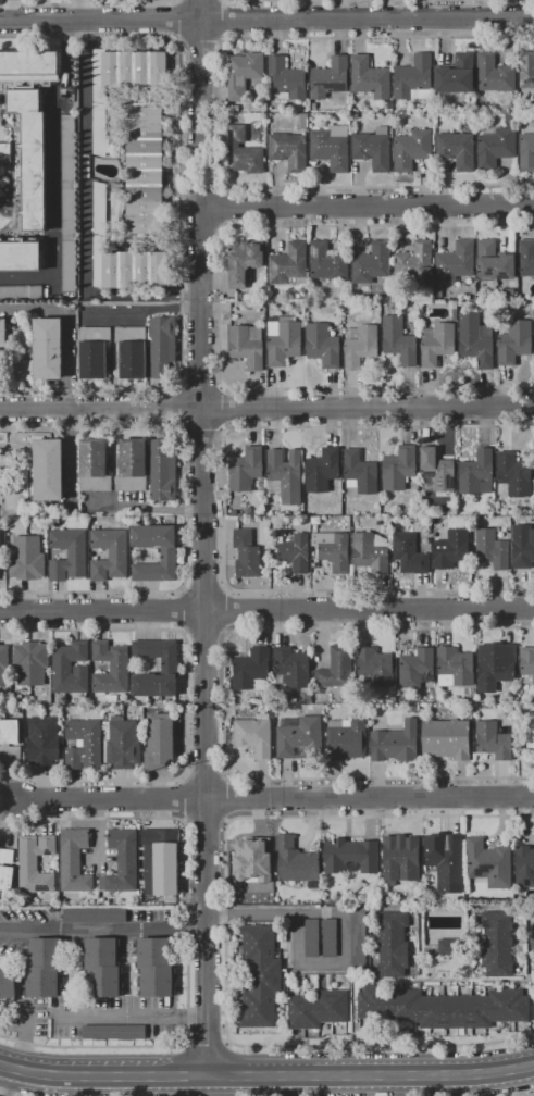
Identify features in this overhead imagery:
road: (290, 0)
road: (88, 5)
road: (12, 11)
road: (75, 11)
road: (222, 21)
road: (266, 21)
road: (177, 22)
road: (199, 43)
building: (29, 63)
building: (526, 70)
building: (244, 72)
building: (494, 74)
building: (456, 75)
building: (330, 78)
building: (414, 78)
building: (286, 79)
building: (370, 79)
building: (28, 80)
building: (122, 83)
road: (219, 113)
building: (510, 120)
building: (302, 122)
building: (332, 147)
building: (496, 148)
building: (374, 149)
building: (457, 149)
building: (289, 150)
building: (412, 150)
building: (5, 152)
building: (244, 152)
building: (526, 152)
building: (32, 155)
building: (145, 169)
road: (53, 175)
building: (69, 203)
road: (368, 207)
road: (224, 208)
road: (84, 213)
road: (181, 215)
building: (21, 256)
building: (123, 257)
building: (526, 258)
building: (244, 261)
building: (327, 262)
building: (456, 262)
building: (494, 262)
building: (372, 264)
building: (414, 264)
building: (289, 265)
building: (21, 292)
building: (439, 292)
building: (509, 292)
road: (215, 309)
building: (452, 309)
road: (70, 324)
building: (334, 331)
building: (3, 333)
building: (284, 339)
building: (399, 340)
building: (476, 340)
building: (514, 342)
building: (437, 344)
building: (162, 346)
building: (247, 346)
building: (323, 346)
building: (360, 346)
building: (48, 349)
building: (132, 351)
building: (95, 352)
road: (200, 386)
road: (222, 408)
road: (266, 409)
road: (179, 410)
road: (201, 433)
building: (95, 465)
building: (132, 465)
building: (399, 469)
building: (49, 470)
building: (247, 471)
building: (322, 471)
building: (436, 471)
building: (162, 472)
building: (360, 472)
building: (477, 473)
building: (285, 476)
building: (513, 476)
building: (533, 489)
road: (220, 508)
road: (184, 512)
building: (234, 513)
road: (201, 538)
building: (493, 548)
building: (333, 550)
building: (450, 550)
building: (169, 552)
building: (371, 552)
building: (523, 552)
building: (246, 553)
building: (296, 553)
building: (409, 553)
building: (69, 555)
building: (109, 555)
building: (26, 559)
road: (204, 588)
road: (182, 610)
road: (266, 610)
road: (226, 611)
road: (204, 633)
building: (30, 662)
building: (526, 664)
building: (4, 665)
building: (375, 667)
building: (499, 667)
building: (111, 668)
building: (170, 668)
building: (290, 668)
building: (455, 668)
building: (251, 669)
building: (71, 670)
building: (337, 670)
building: (417, 670)
building: (113, 700)
building: (69, 702)
road: (223, 705)
road: (186, 706)
building: (234, 710)
building: (530, 734)
building: (254, 736)
building: (299, 738)
building: (347, 739)
building: (446, 739)
building: (494, 739)
building: (10, 740)
building: (44, 742)
building: (161, 742)
building: (84, 744)
building: (122, 744)
building: (395, 744)
road: (370, 798)
road: (111, 799)
road: (226, 799)
building: (347, 855)
building: (249, 857)
building: (74, 860)
building: (405, 860)
building: (122, 861)
building: (160, 861)
building: (447, 861)
building: (296, 862)
building: (35, 863)
building: (488, 863)
building: (524, 867)
building: (5, 870)
building: (357, 887)
building: (375, 893)
building: (262, 894)
building: (240, 898)
building: (95, 916)
road: (340, 919)
road: (103, 927)
road: (225, 931)
road: (187, 932)
building: (311, 937)
building: (330, 937)
building: (358, 939)
building: (532, 942)
building: (393, 944)
building: (497, 944)
building: (449, 947)
building: (44, 967)
building: (102, 968)
building: (156, 968)
building: (533, 968)
building: (261, 976)
building: (8, 984)
building: (347, 986)
building: (444, 1008)
building: (318, 1010)
road: (133, 1014)
building: (113, 1032)
road: (21, 1038)
road: (207, 1043)
road: (190, 1069)
road: (227, 1069)
road: (402, 1075)
road: (67, 1076)
road: (173, 1076)
road: (240, 1076)
road: (7, 1082)
road: (1, 1095)
road: (530, 1095)

